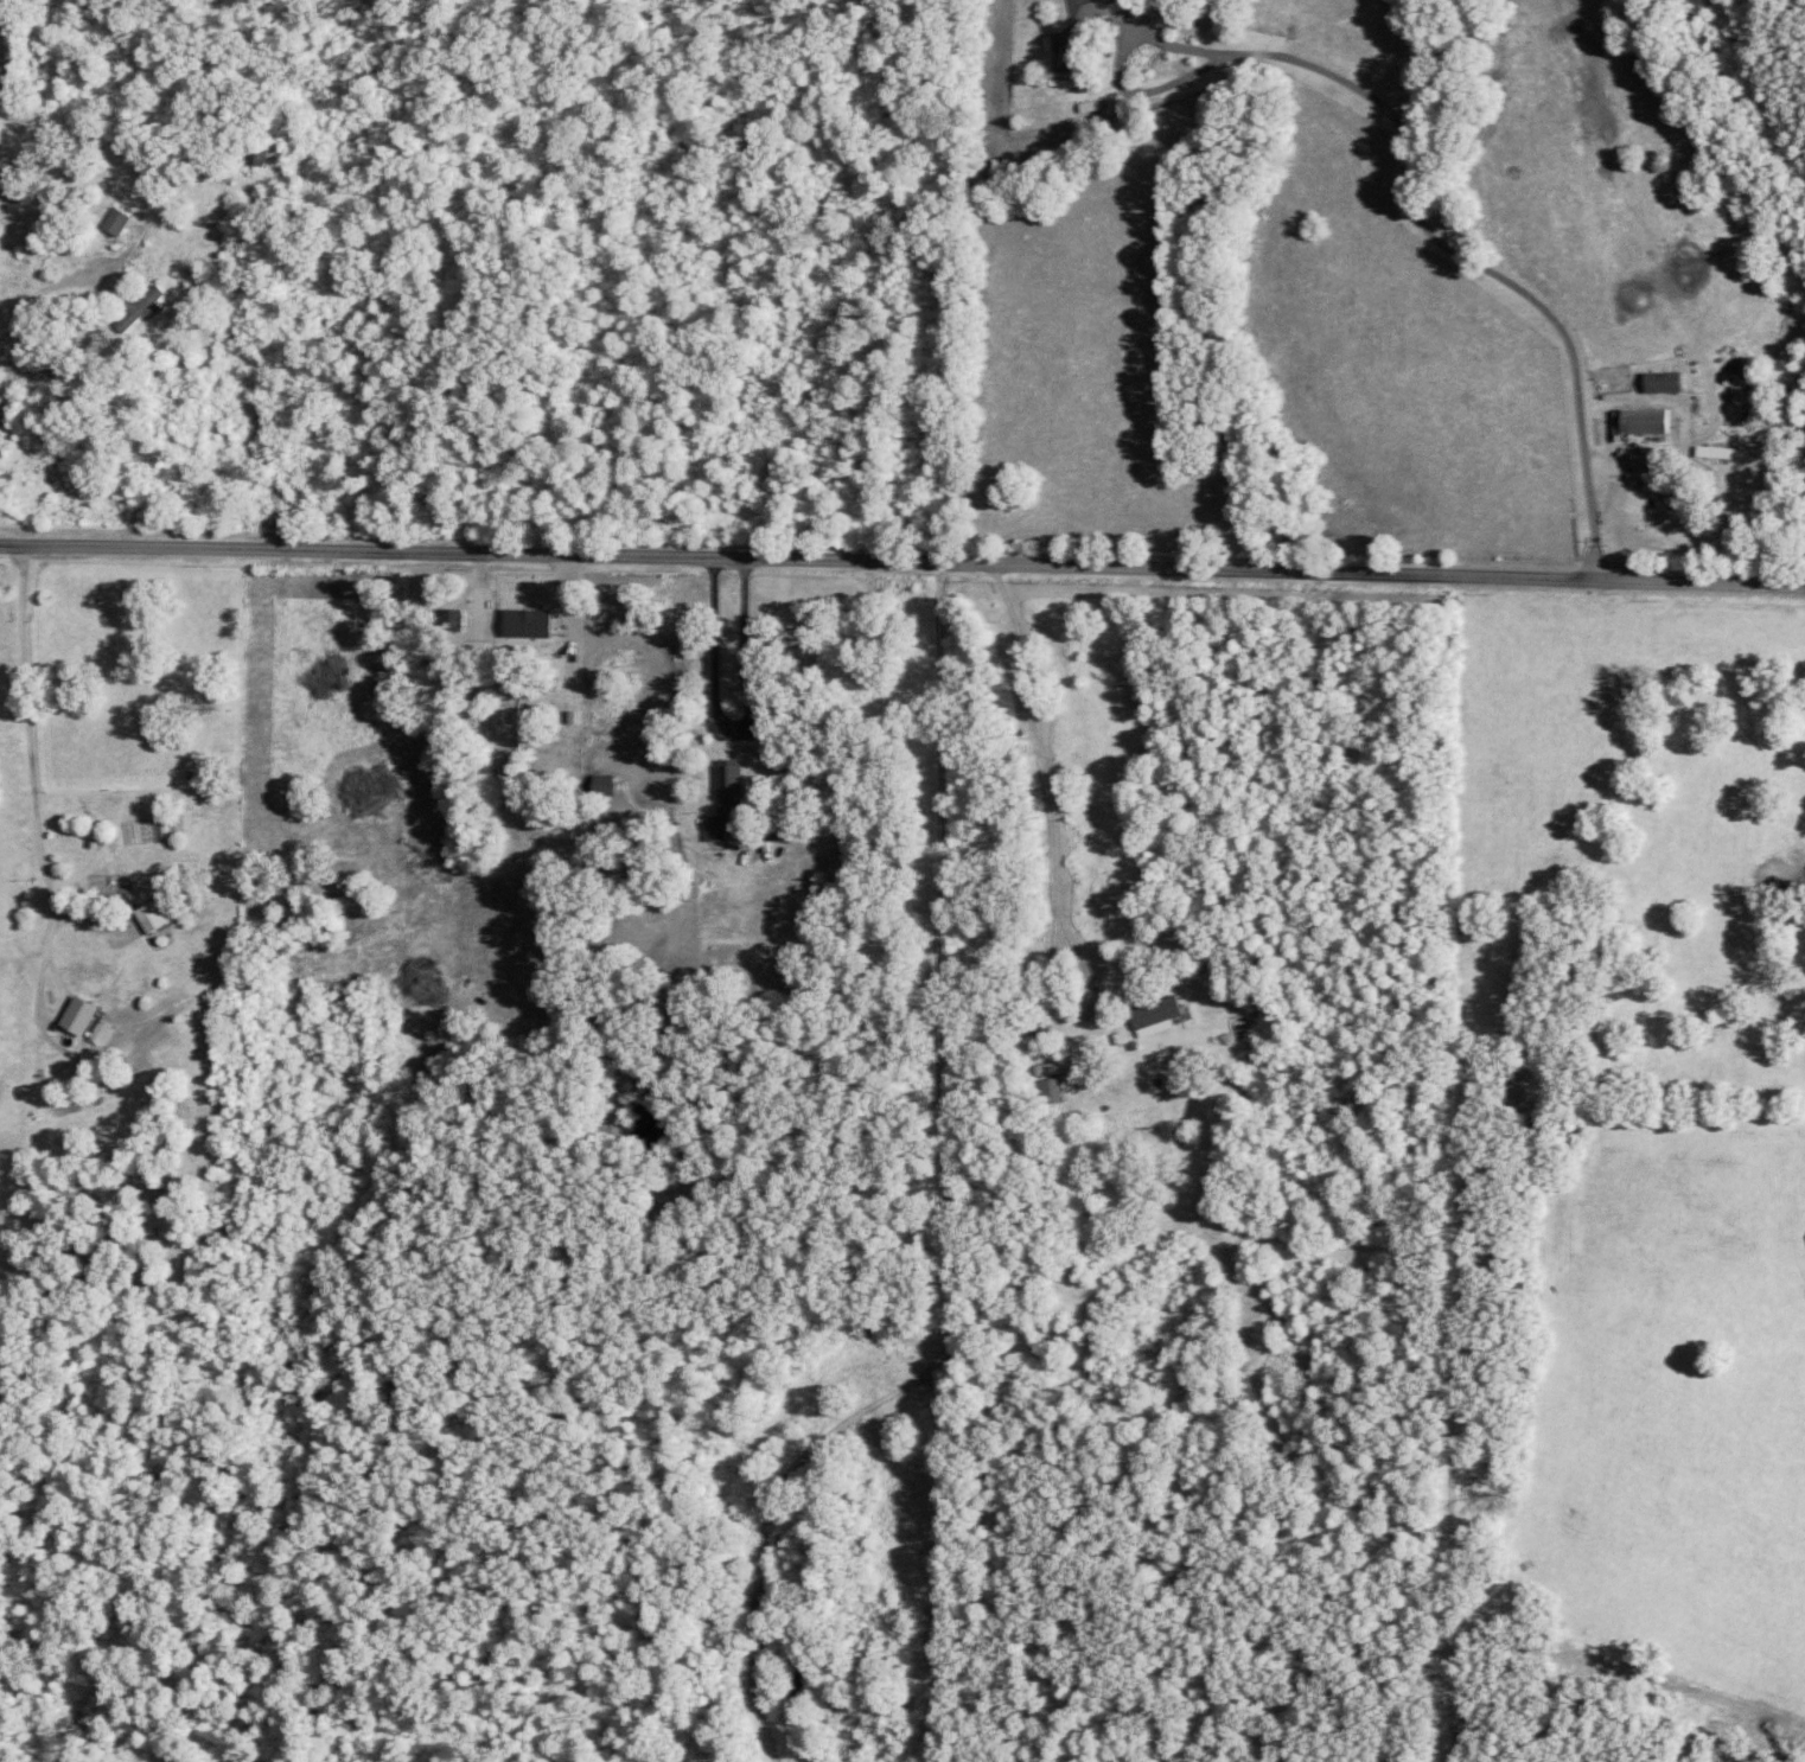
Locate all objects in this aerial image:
building: (1092, 7)
building: (114, 217)
road: (1465, 258)
road: (50, 282)
building: (140, 305)
building: (1660, 378)
building: (1643, 416)
road: (902, 562)
building: (524, 619)
building: (516, 684)
road: (1047, 781)
building: (723, 797)
road: (34, 858)
building: (147, 913)
building: (1154, 1011)
building: (76, 1013)
building: (1050, 1086)

